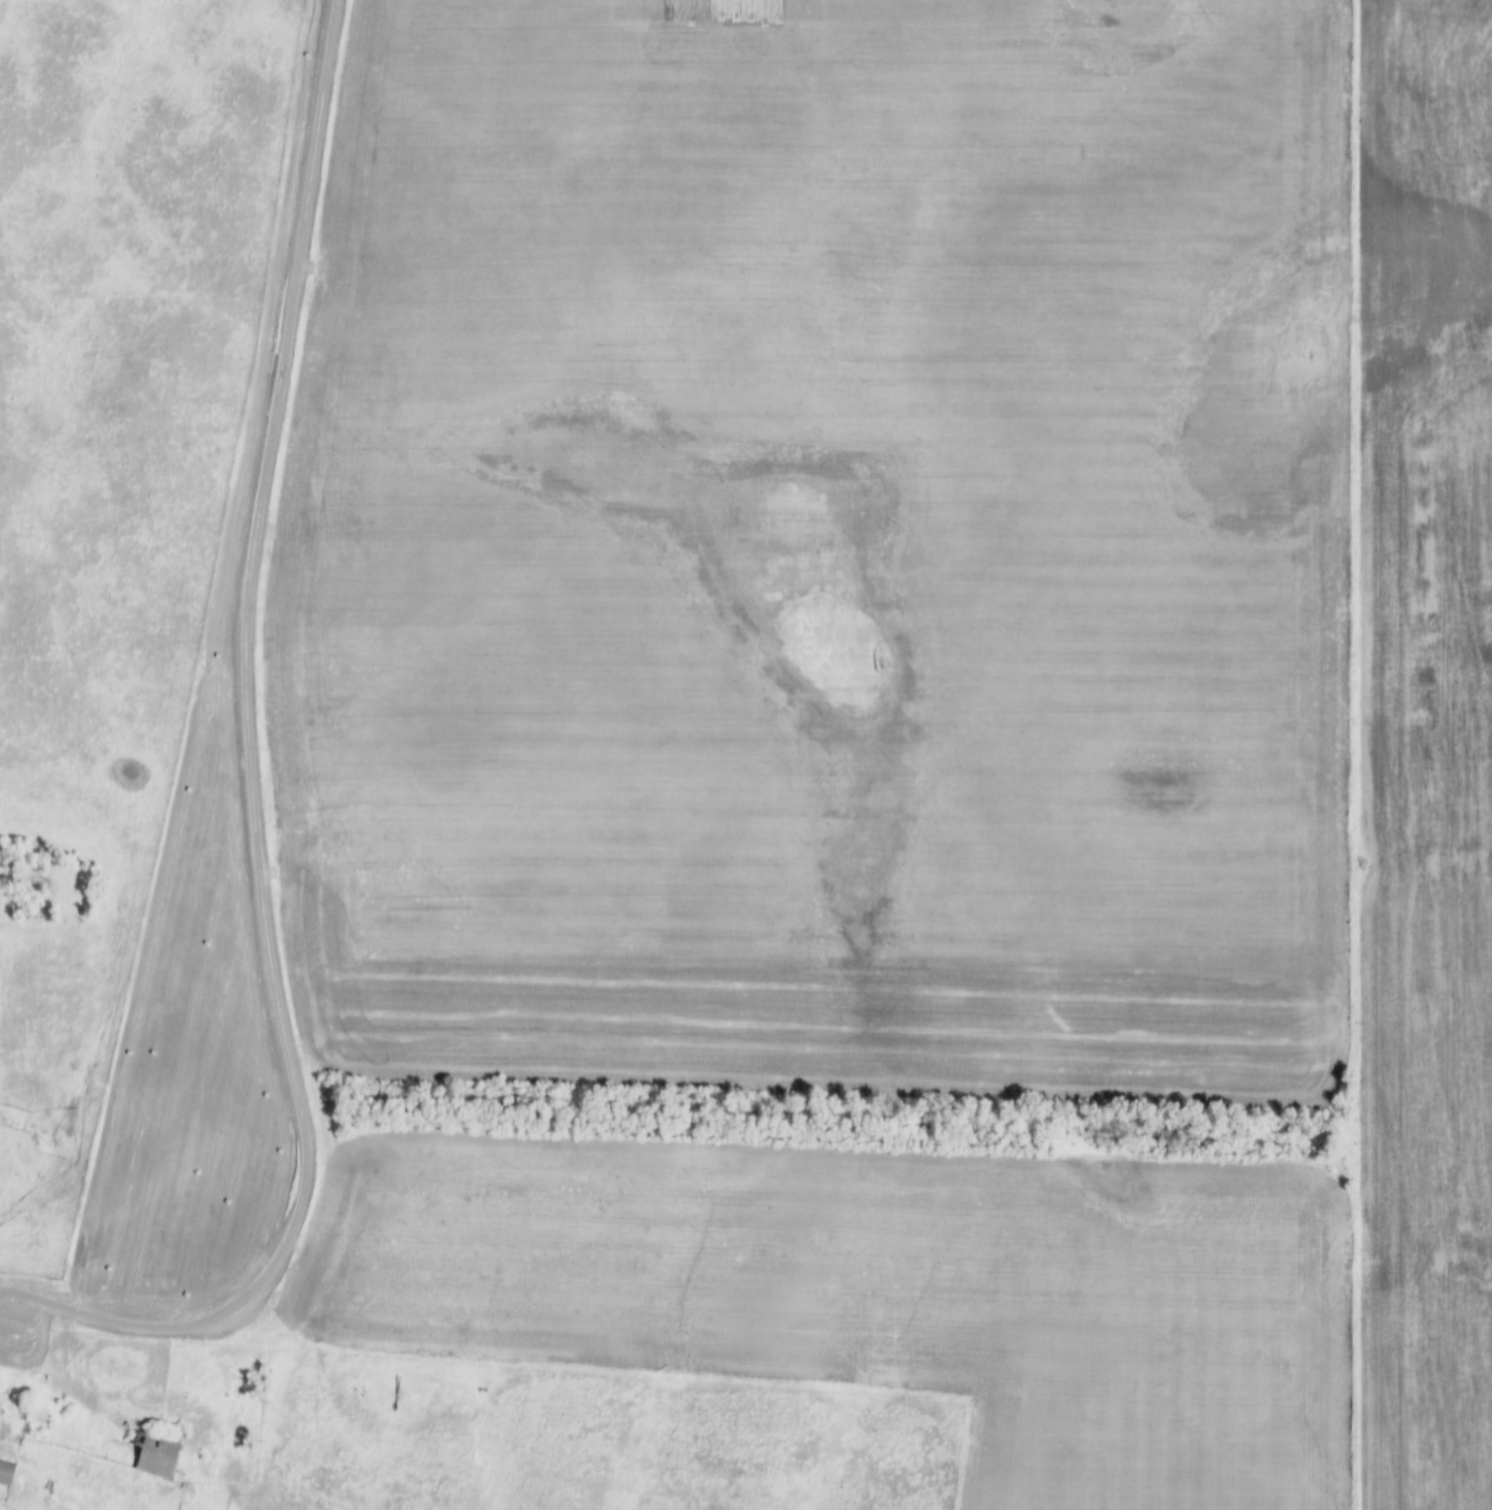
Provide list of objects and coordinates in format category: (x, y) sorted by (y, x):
road: (254, 786)
building: (161, 1452)
building: (8, 1468)

